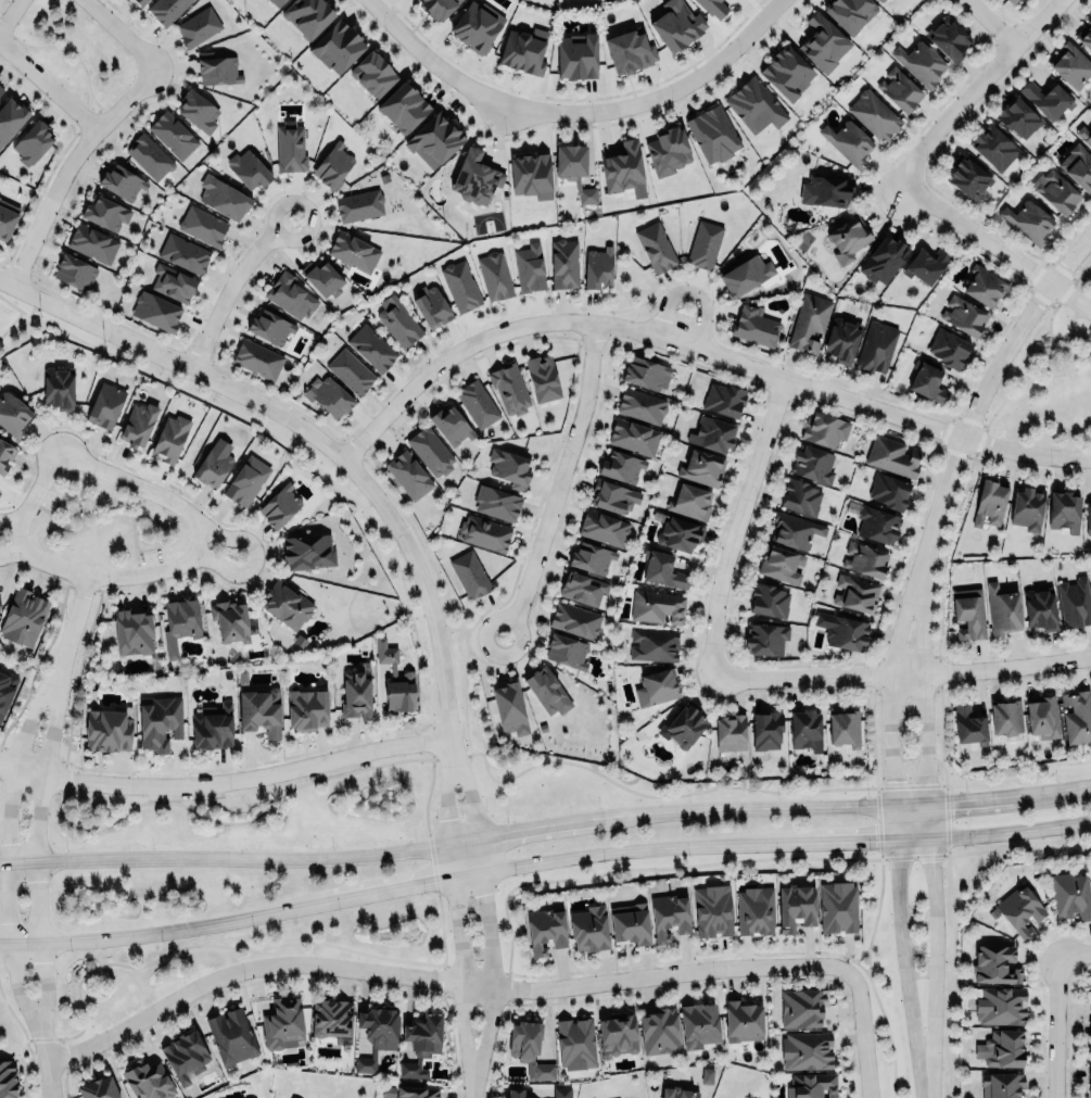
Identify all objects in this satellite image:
building: (880, 0)
building: (140, 1)
building: (1010, 1)
building: (276, 2)
building: (436, 7)
building: (713, 7)
building: (166, 9)
building: (849, 12)
road: (10, 14)
building: (307, 14)
building: (676, 24)
road: (984, 25)
building: (198, 26)
building: (477, 26)
road: (122, 34)
building: (1084, 34)
building: (948, 38)
building: (823, 42)
building: (337, 45)
building: (629, 48)
building: (524, 49)
building: (576, 54)
building: (919, 61)
road: (433, 62)
building: (1070, 64)
building: (217, 68)
building: (787, 71)
building: (372, 72)
road: (49, 85)
road: (974, 87)
building: (899, 88)
building: (1, 89)
road: (661, 93)
building: (1046, 97)
building: (754, 104)
building: (402, 105)
building: (198, 110)
building: (873, 113)
building: (10, 116)
building: (1017, 116)
building: (713, 132)
building: (1083, 134)
building: (173, 135)
building: (31, 140)
building: (434, 140)
building: (847, 140)
building: (290, 146)
building: (993, 147)
building: (668, 150)
building: (150, 155)
road: (67, 163)
building: (332, 164)
building: (1078, 164)
building: (249, 166)
building: (624, 168)
building: (575, 171)
building: (474, 175)
building: (531, 175)
building: (967, 177)
building: (122, 181)
building: (826, 189)
building: (1056, 191)
building: (223, 197)
building: (359, 205)
building: (105, 212)
building: (7, 217)
building: (1028, 219)
building: (203, 225)
building: (848, 239)
building: (92, 242)
road: (990, 242)
building: (703, 243)
building: (656, 247)
building: (353, 251)
building: (183, 252)
building: (883, 258)
building: (564, 263)
building: (925, 264)
building: (530, 266)
building: (597, 266)
building: (75, 272)
building: (745, 274)
building: (494, 276)
building: (322, 277)
building: (174, 281)
building: (460, 285)
building: (985, 286)
road: (232, 287)
building: (290, 293)
road: (690, 293)
building: (431, 305)
building: (155, 310)
road: (20, 312)
building: (963, 315)
building: (808, 321)
building: (398, 323)
building: (754, 325)
building: (269, 326)
building: (840, 339)
building: (875, 345)
building: (371, 346)
road: (699, 346)
building: (948, 348)
building: (256, 357)
building: (350, 369)
building: (646, 371)
building: (543, 377)
building: (926, 380)
park: (1049, 384)
road: (985, 386)
building: (509, 388)
building: (59, 389)
building: (329, 395)
building: (723, 399)
building: (478, 403)
building: (105, 404)
building: (640, 405)
building: (13, 414)
building: (138, 422)
building: (451, 425)
building: (823, 428)
road: (310, 433)
building: (712, 433)
building: (634, 436)
building: (169, 438)
building: (430, 450)
building: (5, 454)
building: (892, 455)
building: (812, 463)
building: (212, 465)
building: (621, 465)
building: (701, 466)
building: (509, 467)
road: (93, 468)
building: (408, 474)
building: (246, 479)
road: (559, 482)
building: (887, 488)
building: (613, 495)
building: (799, 495)
building: (989, 500)
building: (690, 501)
building: (496, 502)
building: (279, 505)
building: (1027, 507)
building: (1063, 507)
road: (9, 519)
building: (1088, 519)
building: (877, 523)
building: (602, 527)
road: (736, 527)
building: (794, 529)
building: (484, 532)
building: (678, 533)
road: (226, 537)
building: (307, 551)
road: (11, 552)
building: (591, 556)
building: (864, 559)
building: (779, 563)
road: (219, 565)
building: (662, 569)
building: (1090, 570)
building: (469, 573)
road: (105, 575)
building: (582, 586)
building: (855, 592)
building: (769, 601)
building: (1074, 602)
building: (1, 603)
building: (287, 605)
building: (657, 606)
building: (1040, 608)
building: (1002, 609)
building: (967, 614)
building: (23, 617)
building: (229, 619)
building: (575, 620)
building: (179, 623)
road: (72, 626)
building: (132, 631)
building: (846, 631)
road: (467, 632)
building: (765, 638)
building: (654, 644)
building: (566, 649)
building: (407, 674)
road: (901, 674)
road: (888, 680)
road: (922, 682)
building: (657, 686)
building: (544, 687)
building: (5, 691)
building: (355, 694)
building: (509, 707)
building: (306, 709)
building: (259, 710)
building: (1041, 715)
building: (1077, 717)
building: (1005, 718)
building: (158, 721)
building: (212, 724)
building: (683, 725)
building: (968, 725)
building: (843, 727)
building: (765, 729)
building: (805, 729)
building: (107, 730)
building: (730, 731)
road: (536, 762)
road: (226, 781)
road: (1069, 787)
road: (969, 800)
road: (741, 808)
road: (930, 820)
road: (520, 828)
road: (1011, 828)
road: (849, 838)
road: (993, 848)
road: (623, 849)
road: (7, 853)
road: (36, 854)
road: (224, 857)
building: (1090, 871)
road: (405, 886)
building: (1071, 894)
building: (795, 906)
building: (837, 906)
building: (1019, 909)
building: (712, 910)
building: (754, 910)
building: (669, 916)
road: (876, 916)
road: (484, 917)
road: (456, 918)
building: (630, 924)
building: (545, 929)
building: (588, 929)
road: (166, 930)
road: (902, 941)
road: (183, 947)
road: (1074, 954)
road: (929, 955)
road: (852, 958)
building: (995, 964)
road: (440, 979)
building: (1090, 995)
building: (1090, 1000)
building: (1000, 1005)
building: (801, 1007)
building: (331, 1018)
building: (741, 1020)
building: (282, 1023)
building: (698, 1024)
road: (1053, 1026)
building: (1089, 1026)
building: (660, 1031)
building: (376, 1034)
road: (863, 1034)
building: (617, 1035)
building: (231, 1036)
building: (420, 1040)
building: (575, 1043)
building: (1002, 1048)
building: (529, 1049)
building: (805, 1050)
building: (185, 1056)
road: (48, 1064)
building: (1089, 1070)
building: (8, 1080)
building: (148, 1080)
building: (812, 1085)
building: (1001, 1085)
road: (924, 1086)
building: (98, 1088)
building: (1089, 1089)
building: (416, 1091)
building: (560, 1091)
building: (516, 1093)
building: (677, 1093)
building: (289, 1097)

